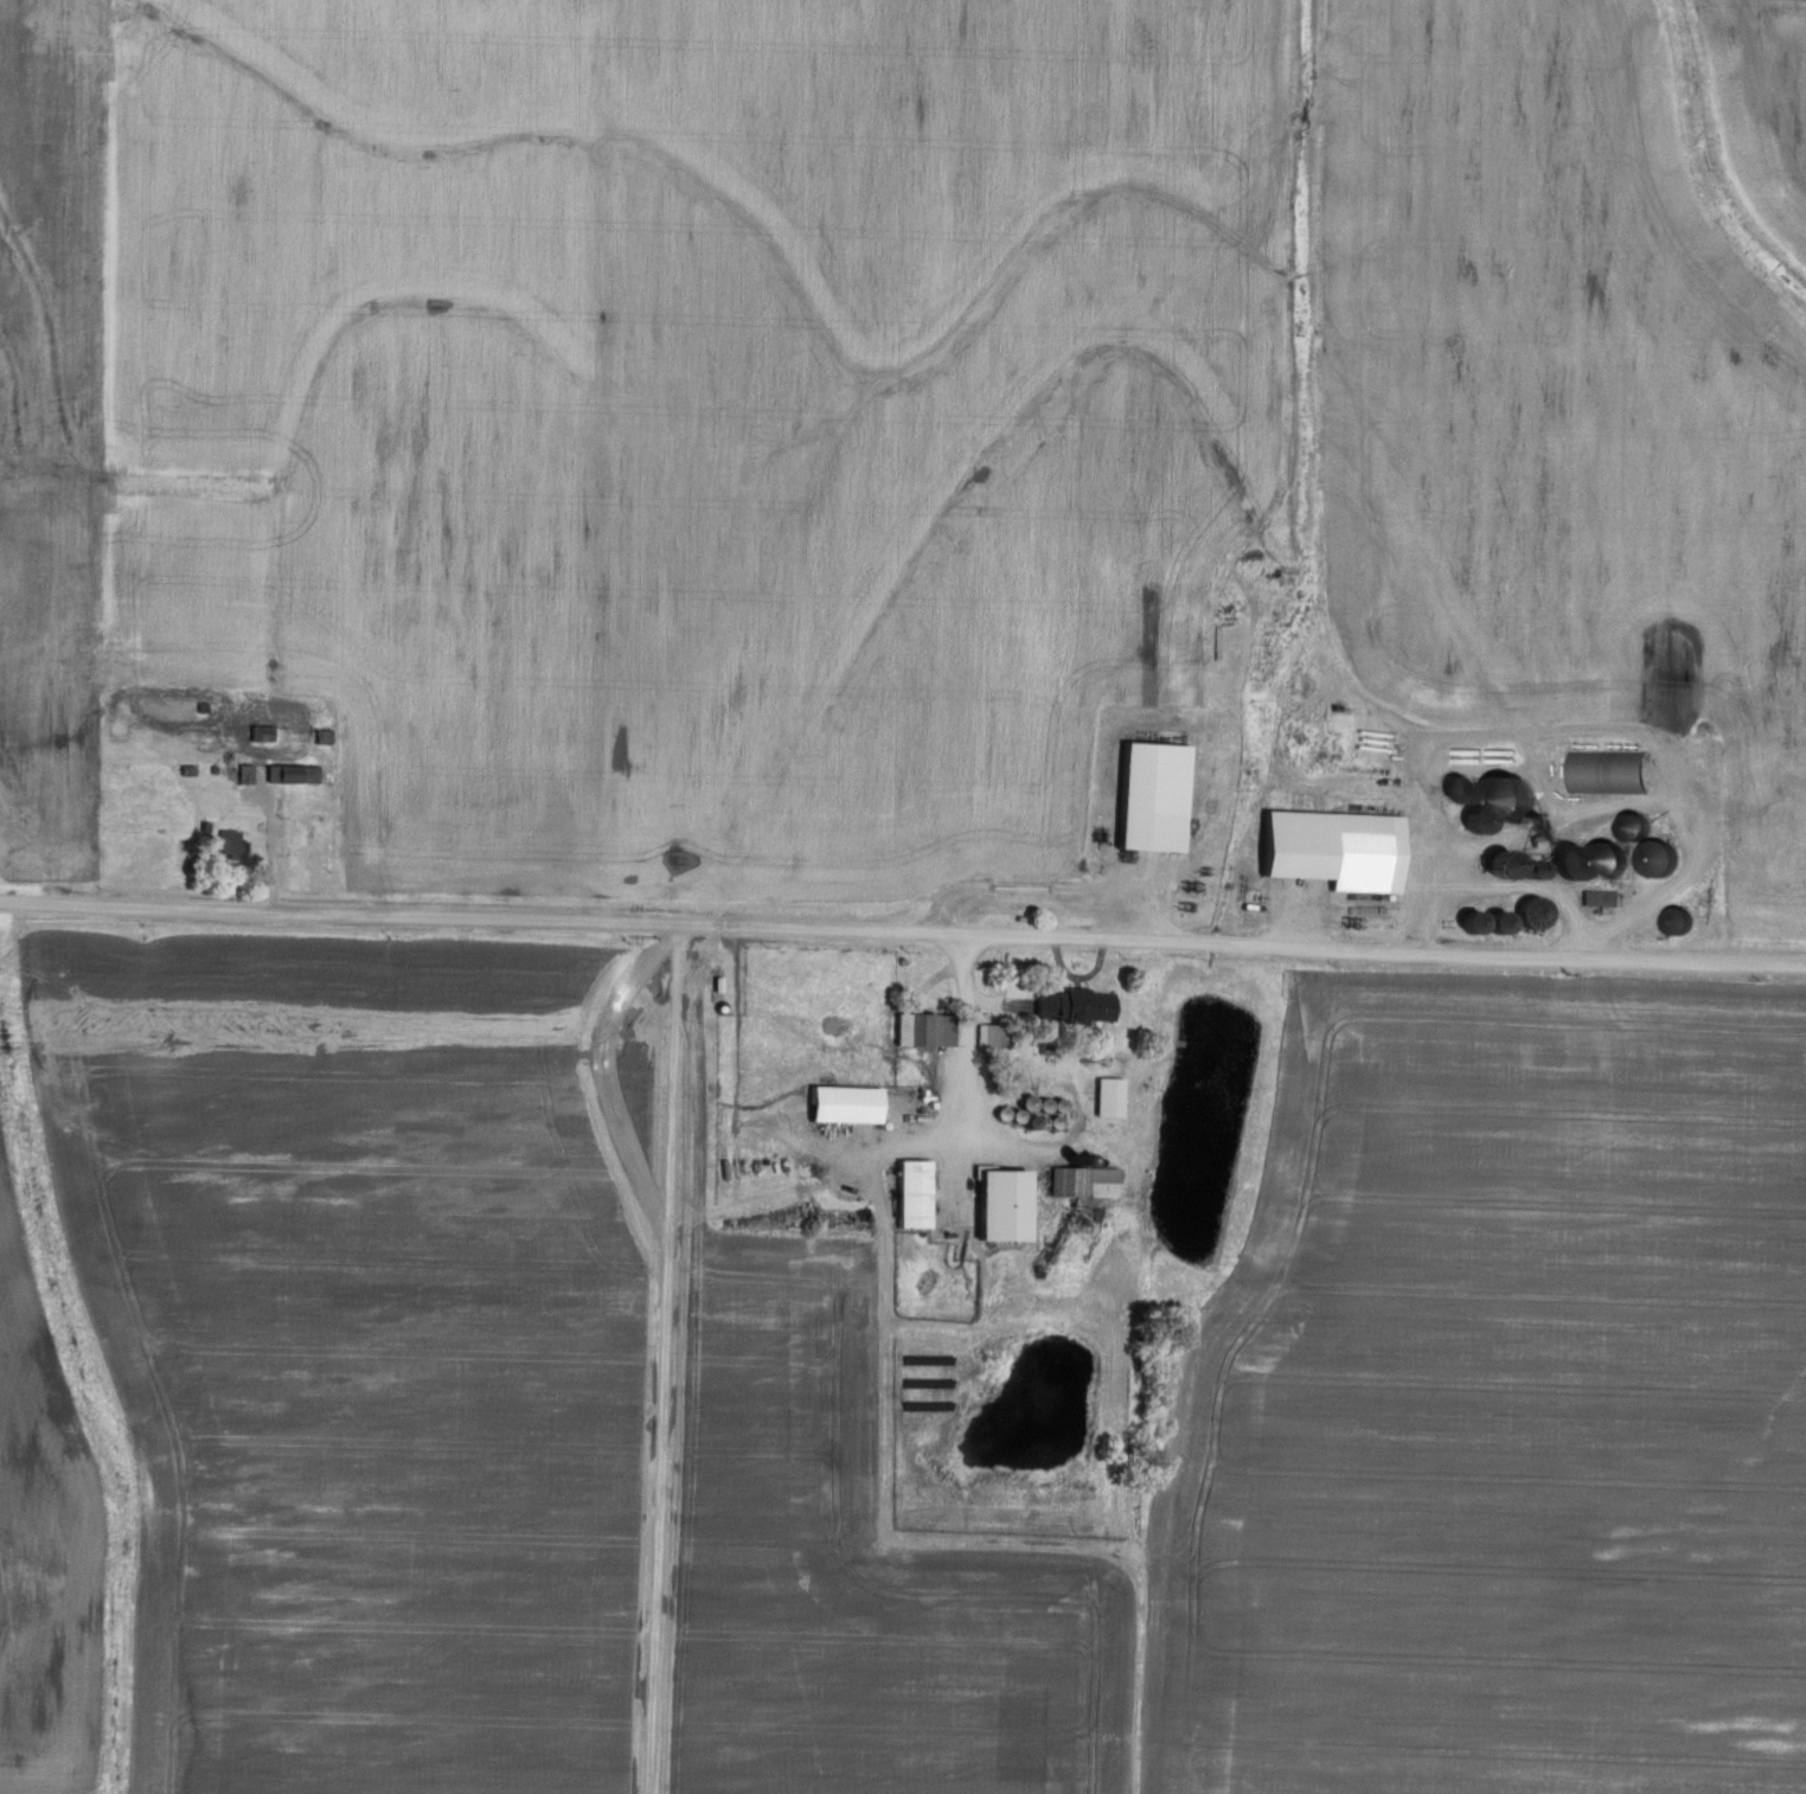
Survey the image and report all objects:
building: (1153, 795)
building: (1514, 799)
building: (229, 841)
road: (271, 841)
building: (1336, 846)
road: (1496, 872)
building: (1600, 896)
road: (903, 929)
building: (1074, 1002)
building: (924, 1027)
building: (985, 1033)
building: (998, 1034)
building: (1050, 1040)
road: (953, 1079)
building: (1108, 1095)
building: (845, 1102)
building: (1084, 1179)
building: (914, 1191)
building: (1003, 1203)

